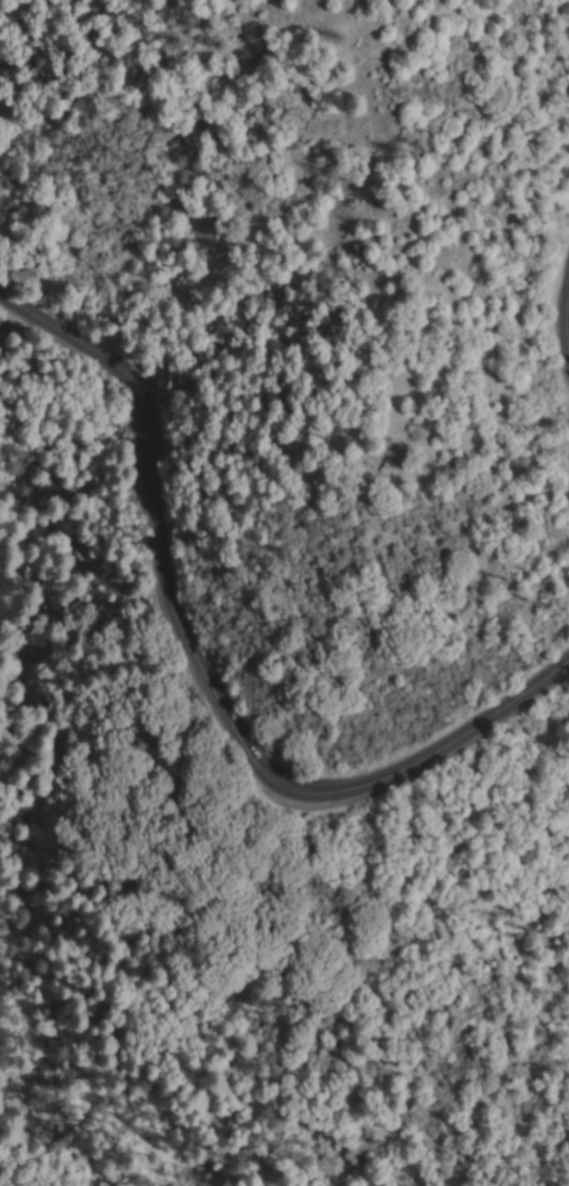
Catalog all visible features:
road: (204, 679)

